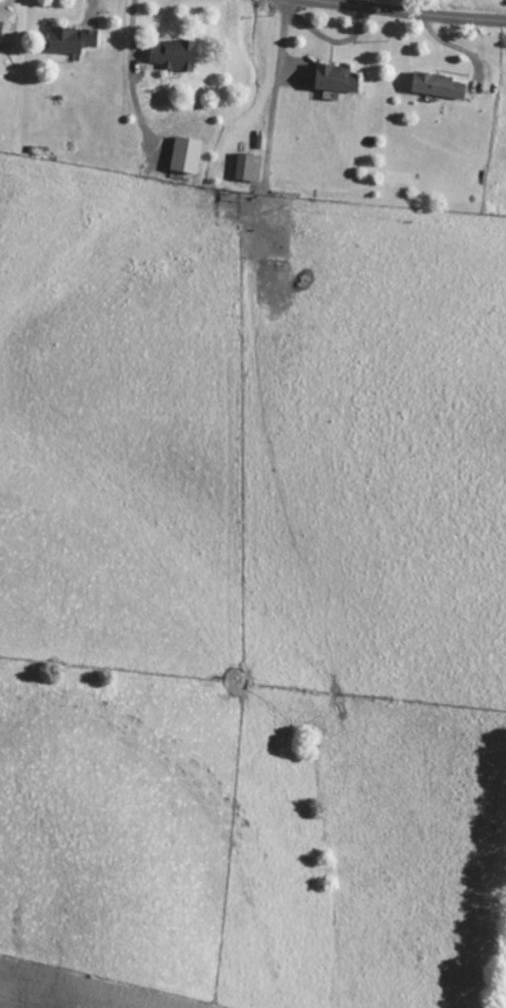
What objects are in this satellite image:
road: (418, 11)
building: (72, 40)
building: (175, 55)
building: (336, 79)
building: (438, 86)
building: (249, 167)

